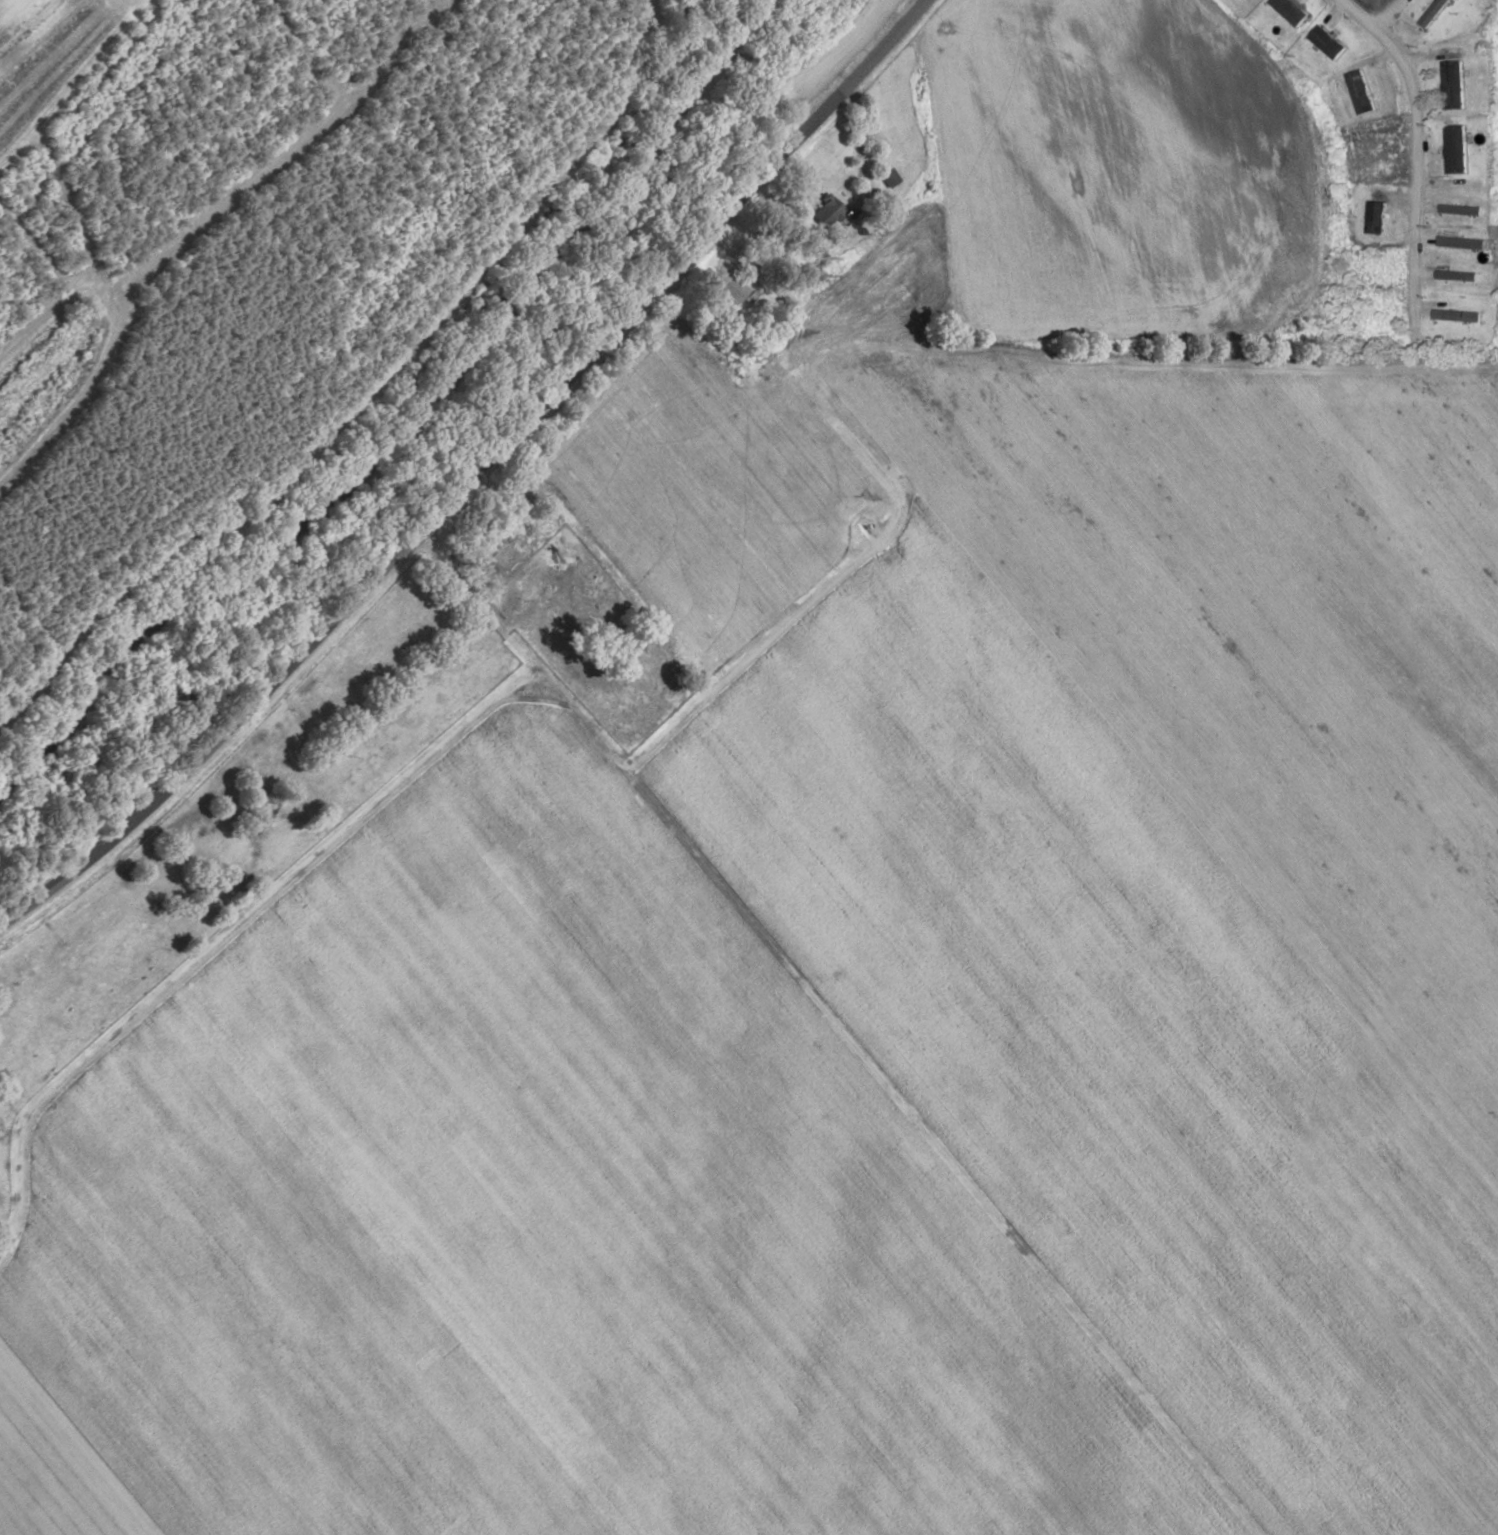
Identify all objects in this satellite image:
building: (1289, 10)
building: (1432, 12)
road: (1386, 17)
building: (1326, 41)
building: (1451, 84)
building: (1359, 91)
building: (1454, 149)
road: (1413, 152)
building: (888, 176)
building: (1459, 209)
building: (824, 211)
building: (1375, 217)
building: (1460, 242)
building: (1456, 275)
building: (732, 289)
building: (1456, 315)
road: (473, 477)
road: (228, 931)
road: (838, 1032)
road: (1176, 1182)
road: (364, 1208)

